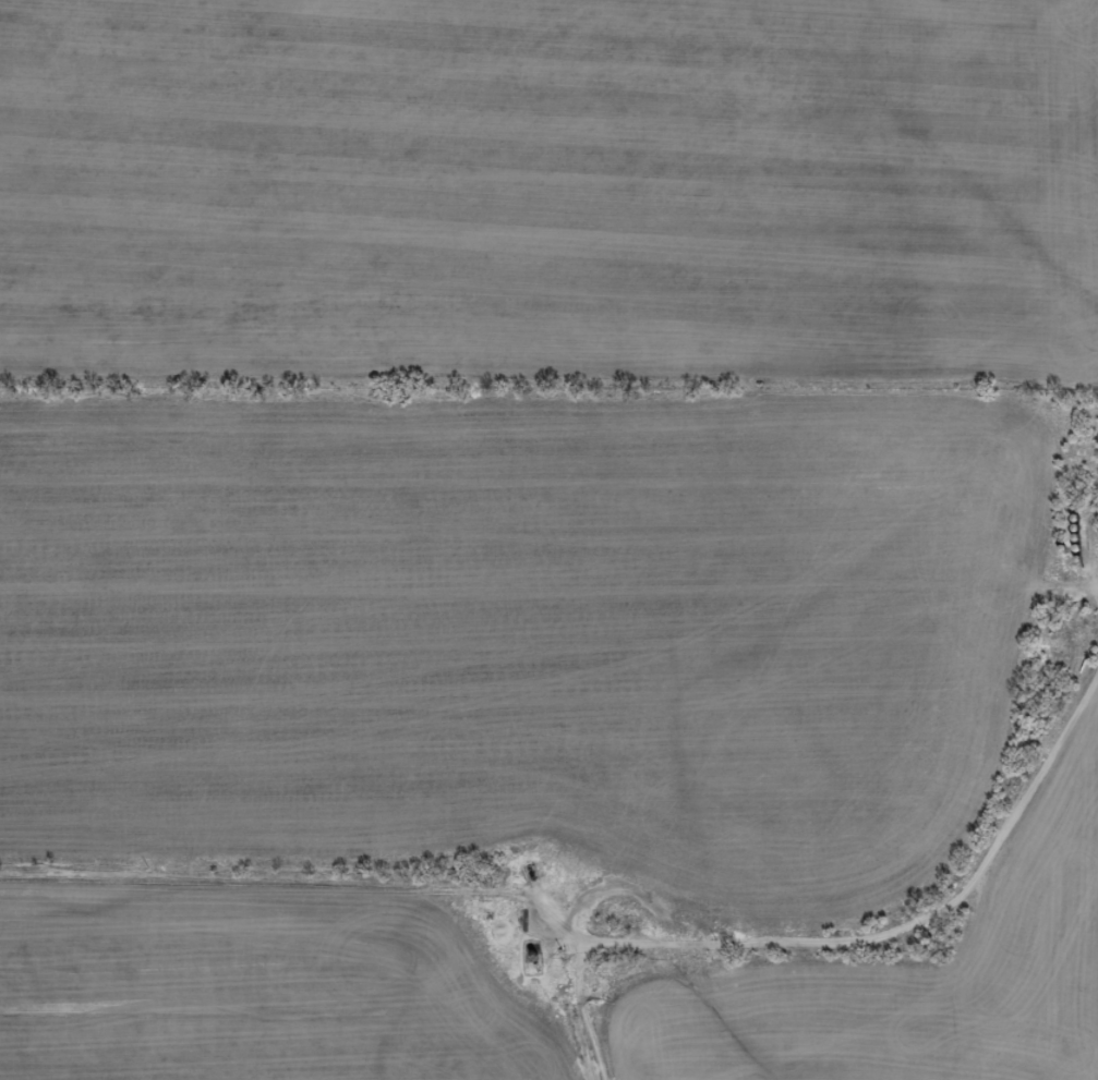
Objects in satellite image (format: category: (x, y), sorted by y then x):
road: (938, 945)

